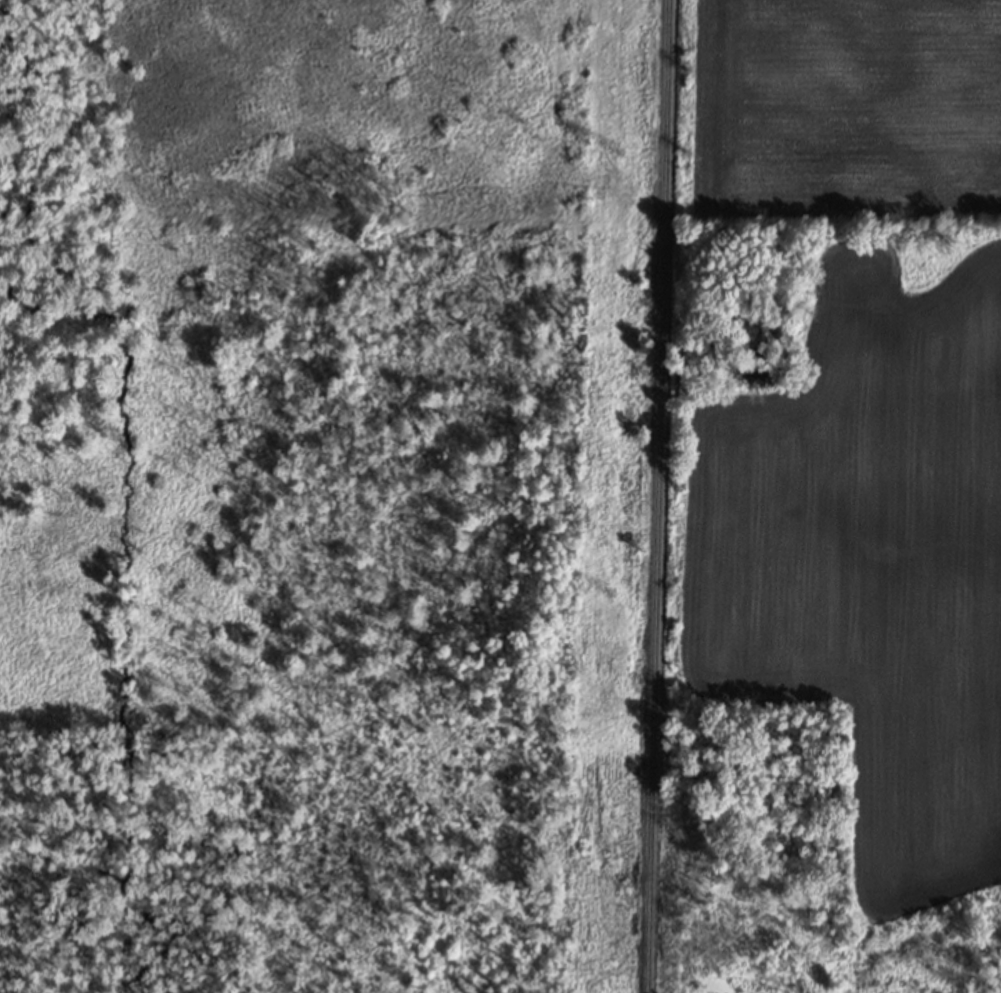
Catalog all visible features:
railway: (668, 496)

